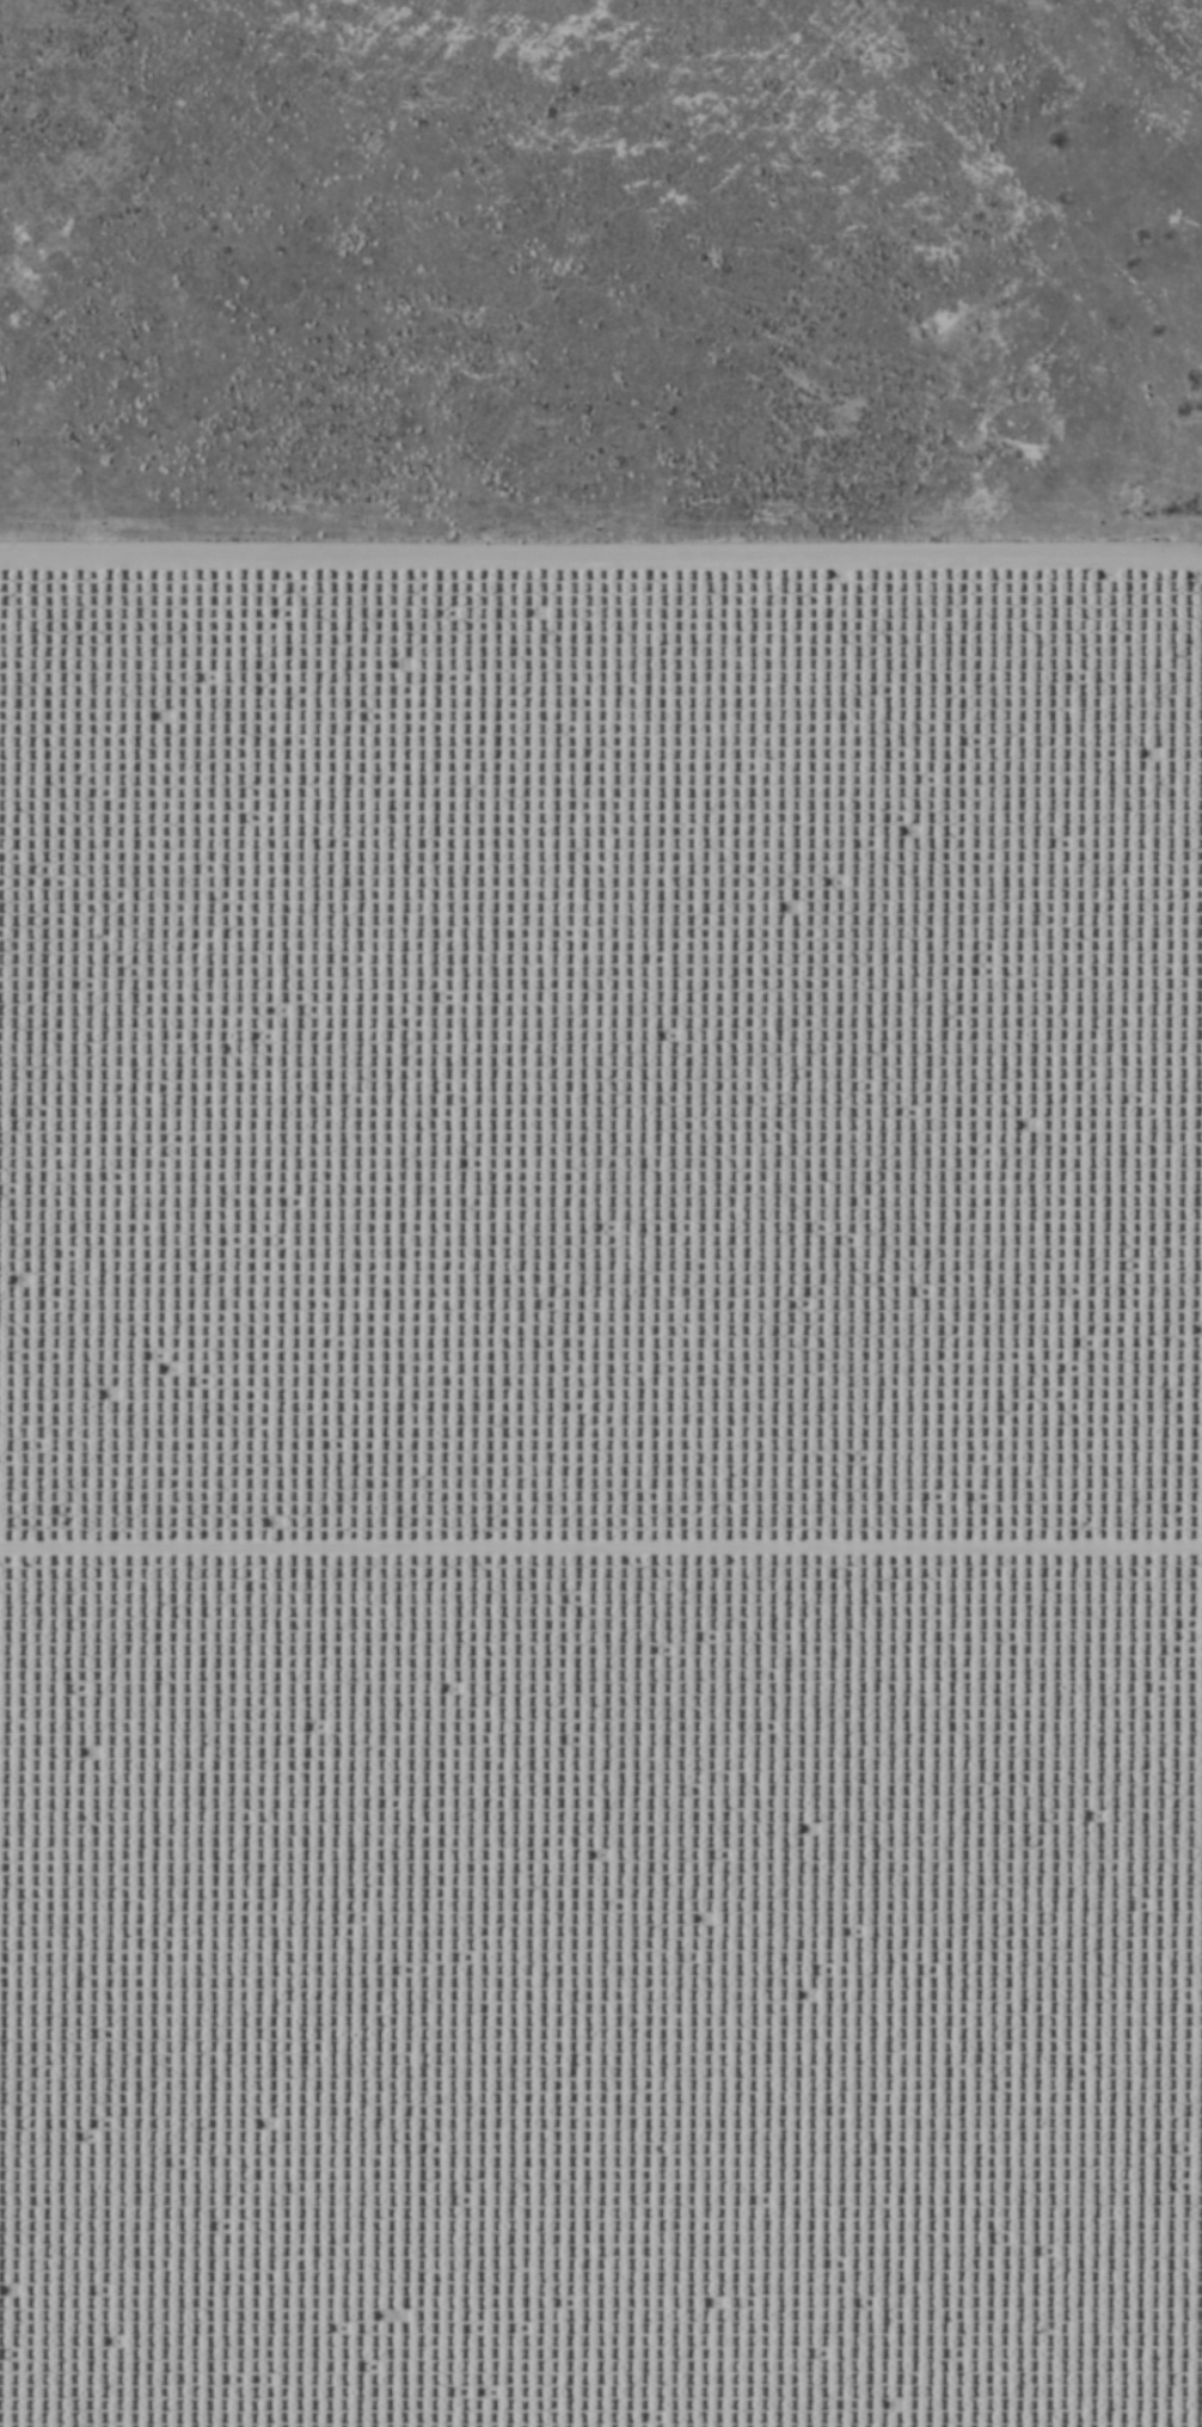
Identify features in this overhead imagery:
road: (601, 543)
road: (601, 1504)

